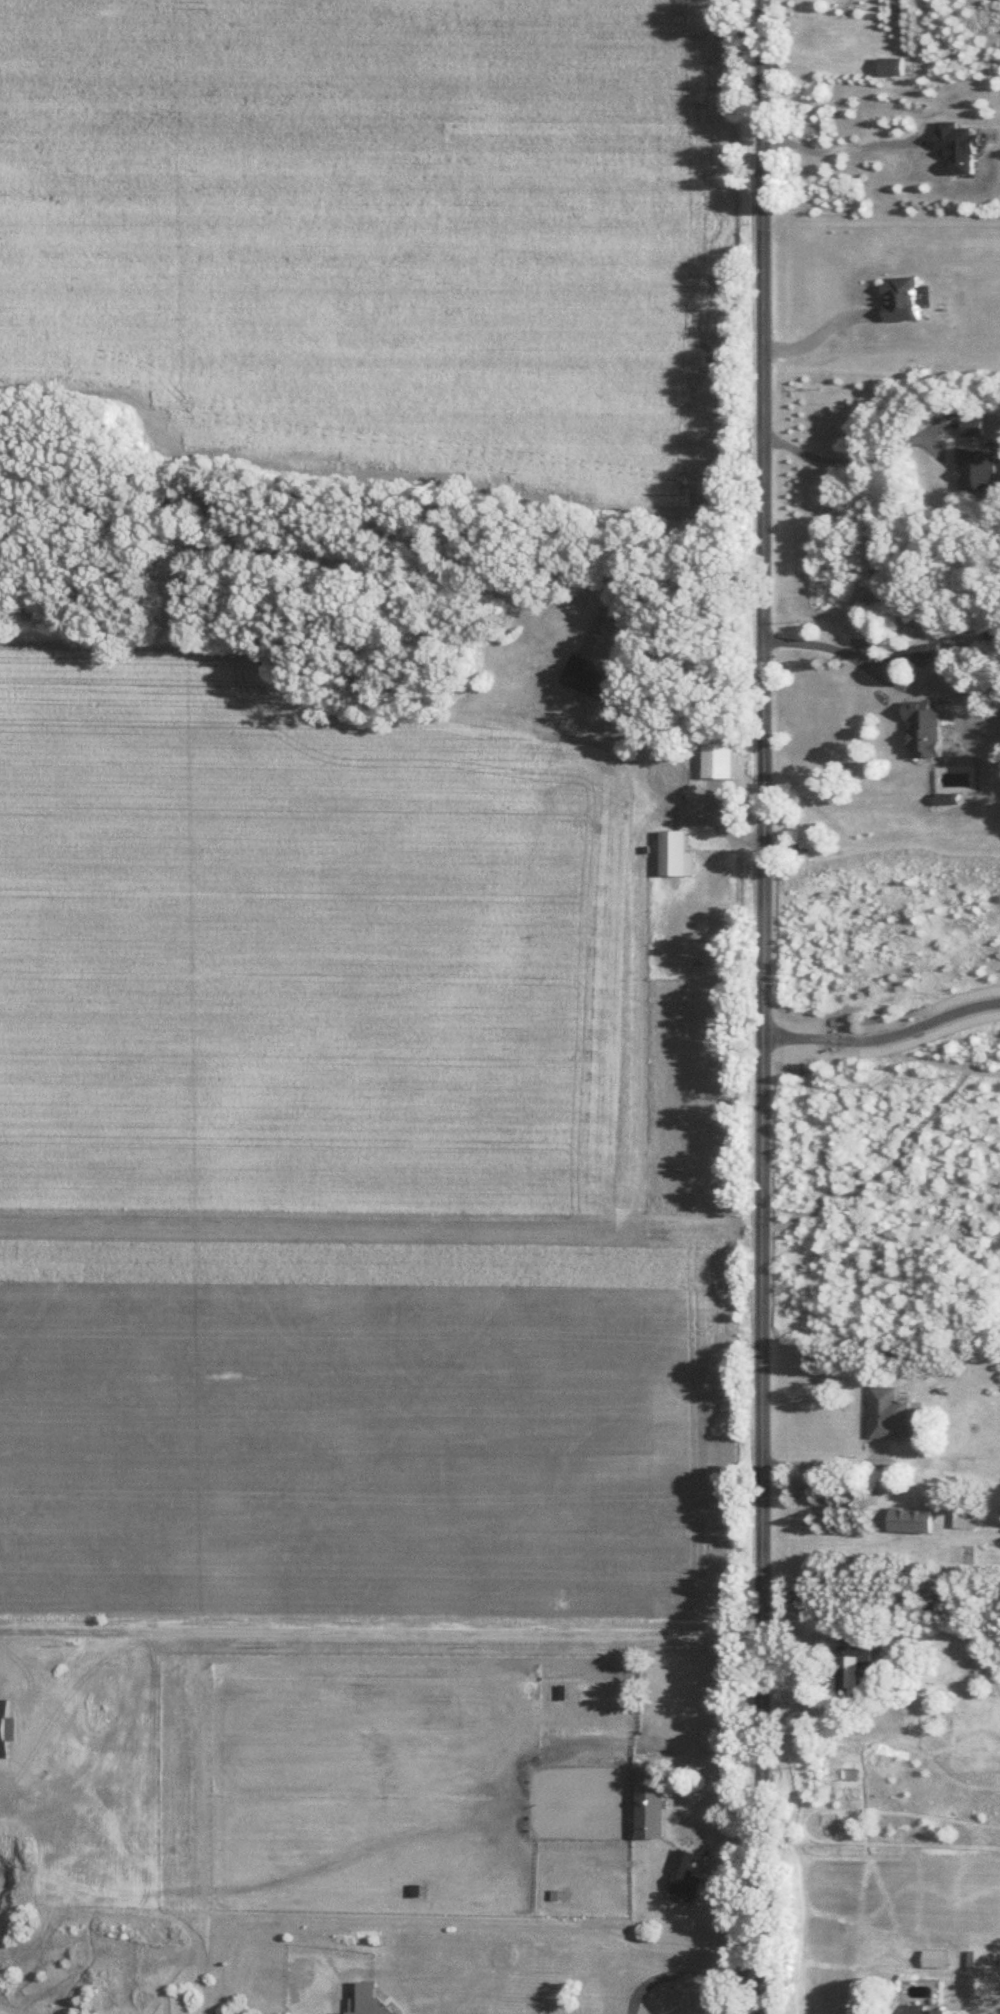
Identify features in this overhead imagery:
building: (890, 64)
building: (956, 144)
road: (837, 148)
building: (900, 297)
road: (811, 332)
building: (971, 424)
road: (845, 457)
building: (975, 467)
road: (643, 539)
building: (929, 651)
road: (842, 654)
building: (585, 675)
building: (925, 726)
building: (716, 758)
building: (674, 852)
crop: (296, 948)
crop: (296, 948)
road: (759, 1006)
airport taxiway: (639, 1023)
road: (882, 1034)
airport runway: (371, 1222)
building: (887, 1411)
crop: (365, 1428)
road: (819, 1463)
building: (965, 1516)
building: (910, 1518)
road: (831, 1538)
building: (853, 1664)
building: (651, 1799)
building: (687, 1872)
building: (933, 1956)
building: (980, 1956)
building: (922, 2009)

